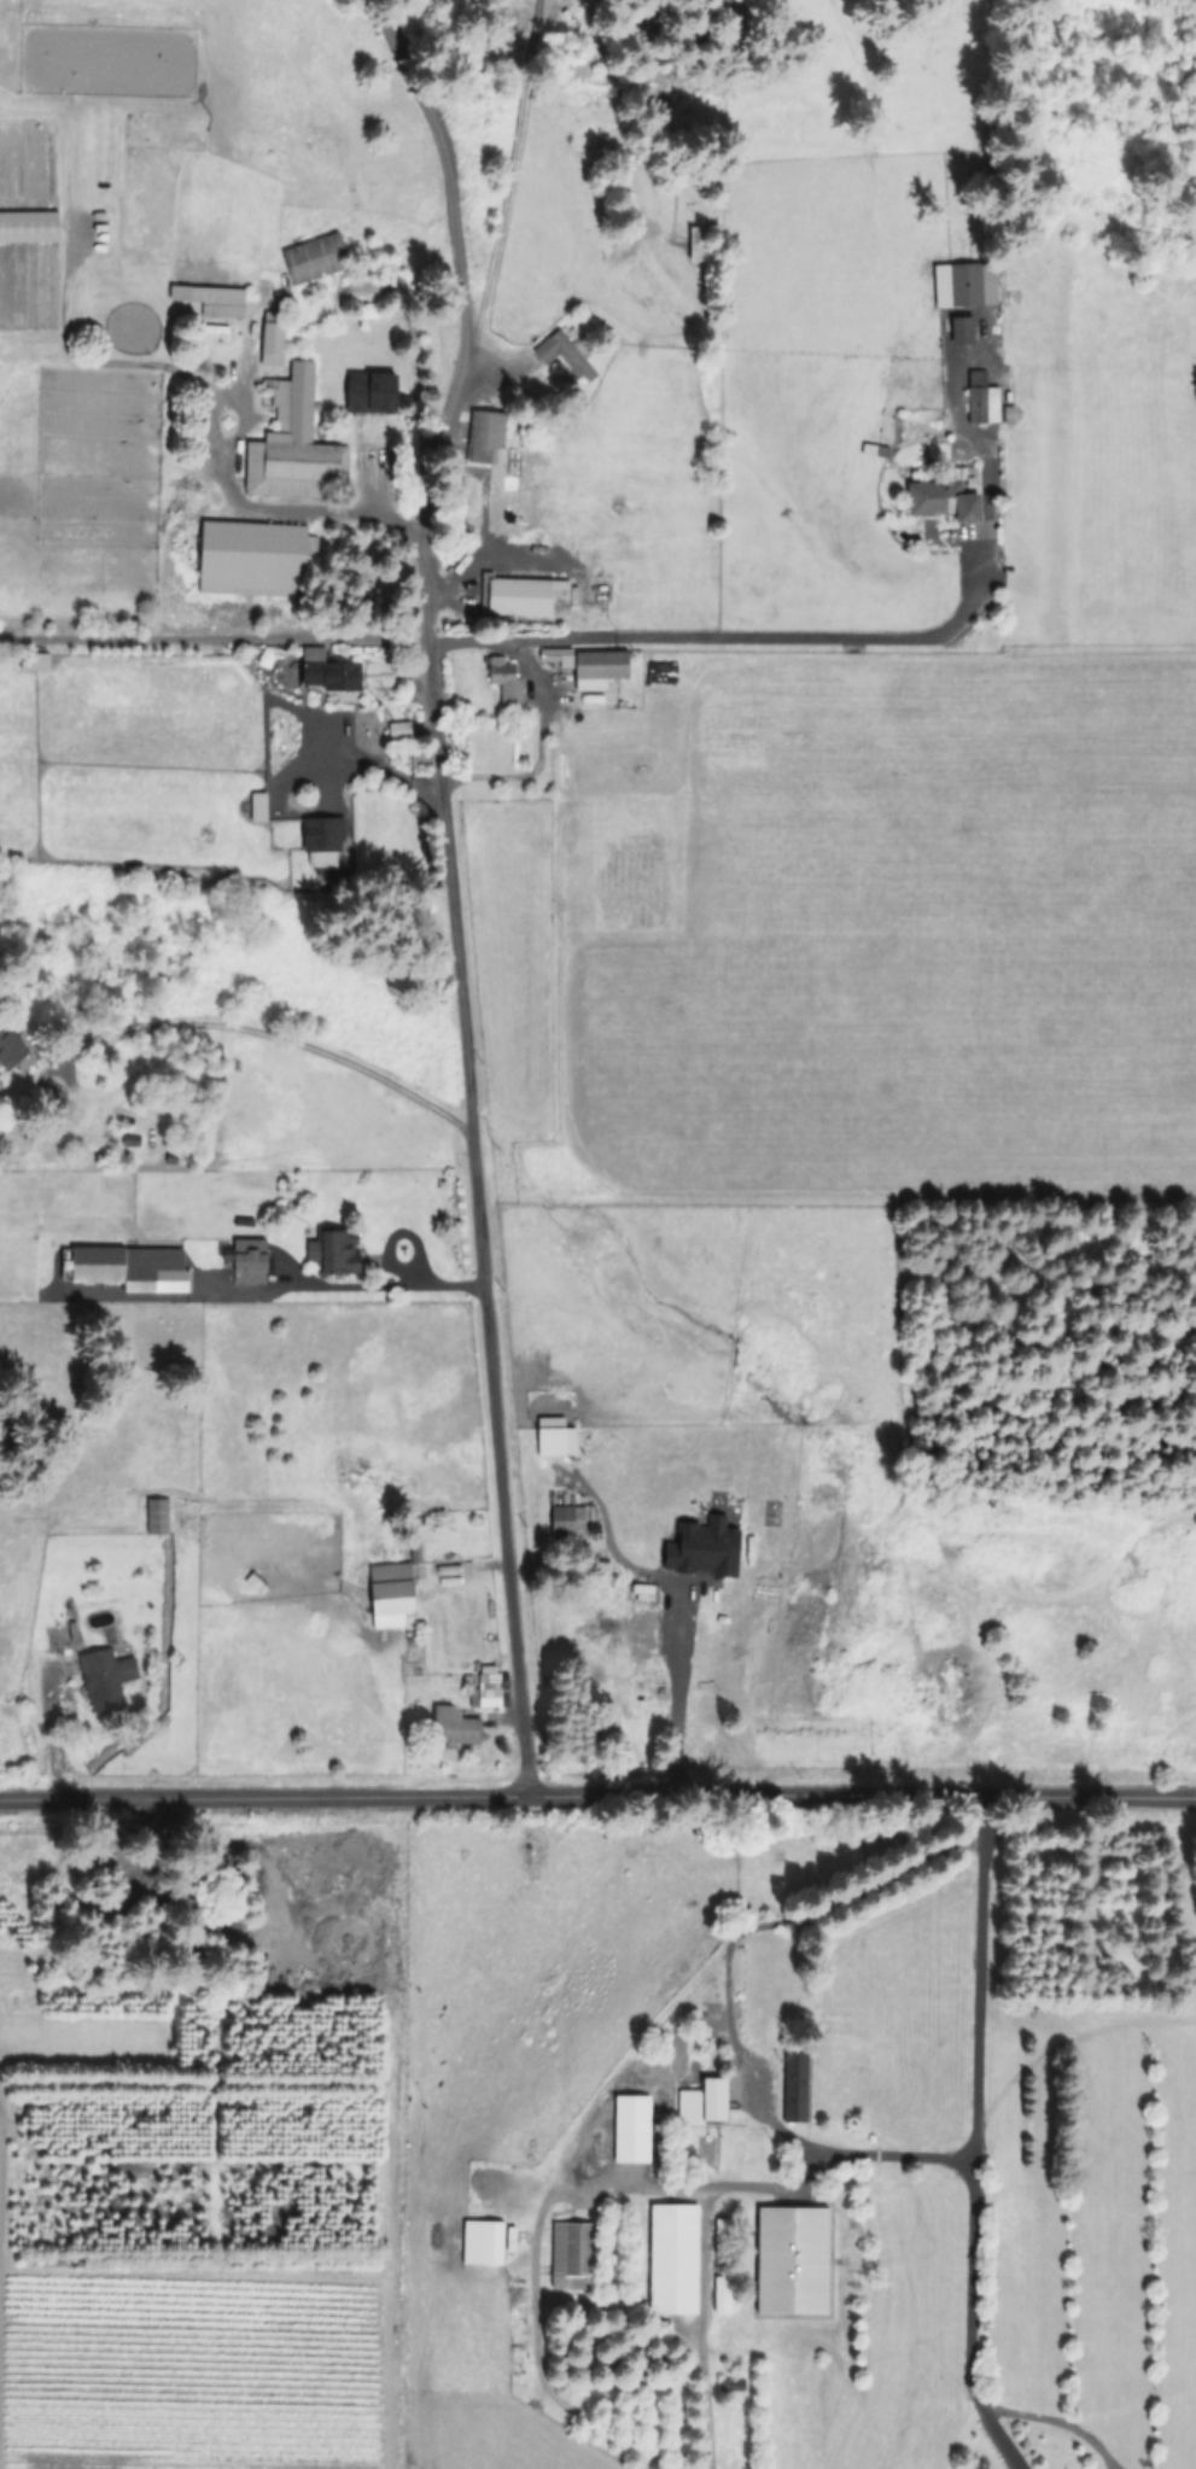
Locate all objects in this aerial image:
road: (512, 181)
road: (450, 200)
building: (28, 228)
building: (702, 245)
building: (314, 261)
building: (968, 284)
building: (211, 302)
building: (273, 340)
building: (566, 357)
building: (372, 395)
building: (976, 398)
building: (484, 440)
building: (292, 448)
road: (367, 474)
building: (512, 486)
building: (938, 502)
road: (344, 506)
building: (253, 561)
building: (525, 596)
road: (518, 642)
building: (559, 656)
building: (37, 661)
building: (600, 669)
building: (331, 672)
building: (508, 681)
building: (401, 731)
road: (537, 749)
building: (259, 806)
building: (325, 840)
road: (274, 1037)
building: (11, 1049)
road: (473, 1102)
building: (124, 1116)
building: (152, 1152)
building: (309, 1231)
building: (338, 1251)
building: (250, 1261)
building: (170, 1278)
road: (383, 1286)
building: (161, 1514)
building: (568, 1522)
building: (418, 1552)
building: (659, 1577)
building: (257, 1583)
building: (391, 1593)
building: (647, 1634)
building: (107, 1679)
building: (488, 1689)
building: (637, 1694)
road: (672, 1697)
building: (454, 1726)
road: (597, 1796)
building: (765, 1983)
building: (794, 2089)
building: (704, 2106)
road: (893, 2153)
road: (975, 2178)
building: (485, 2184)
building: (483, 2245)
building: (570, 2257)
building: (673, 2260)
building: (793, 2263)
road: (988, 2428)

